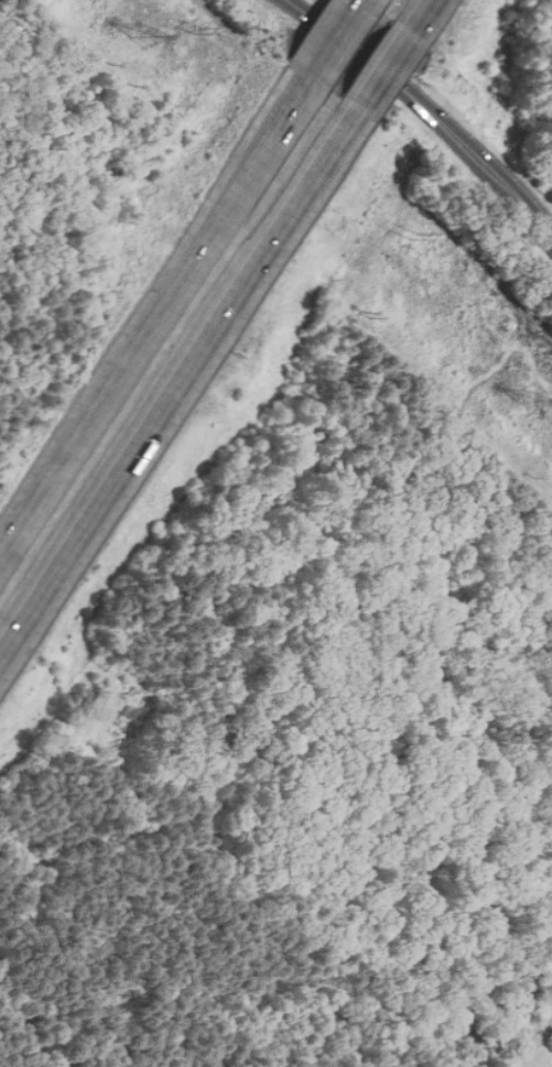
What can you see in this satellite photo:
road: (357, 2)
road: (413, 17)
power tower: (143, 41)
road: (333, 41)
road: (379, 70)
road: (427, 109)
road: (543, 188)
park: (548, 190)
road: (154, 313)
road: (177, 381)
power tower: (532, 404)

